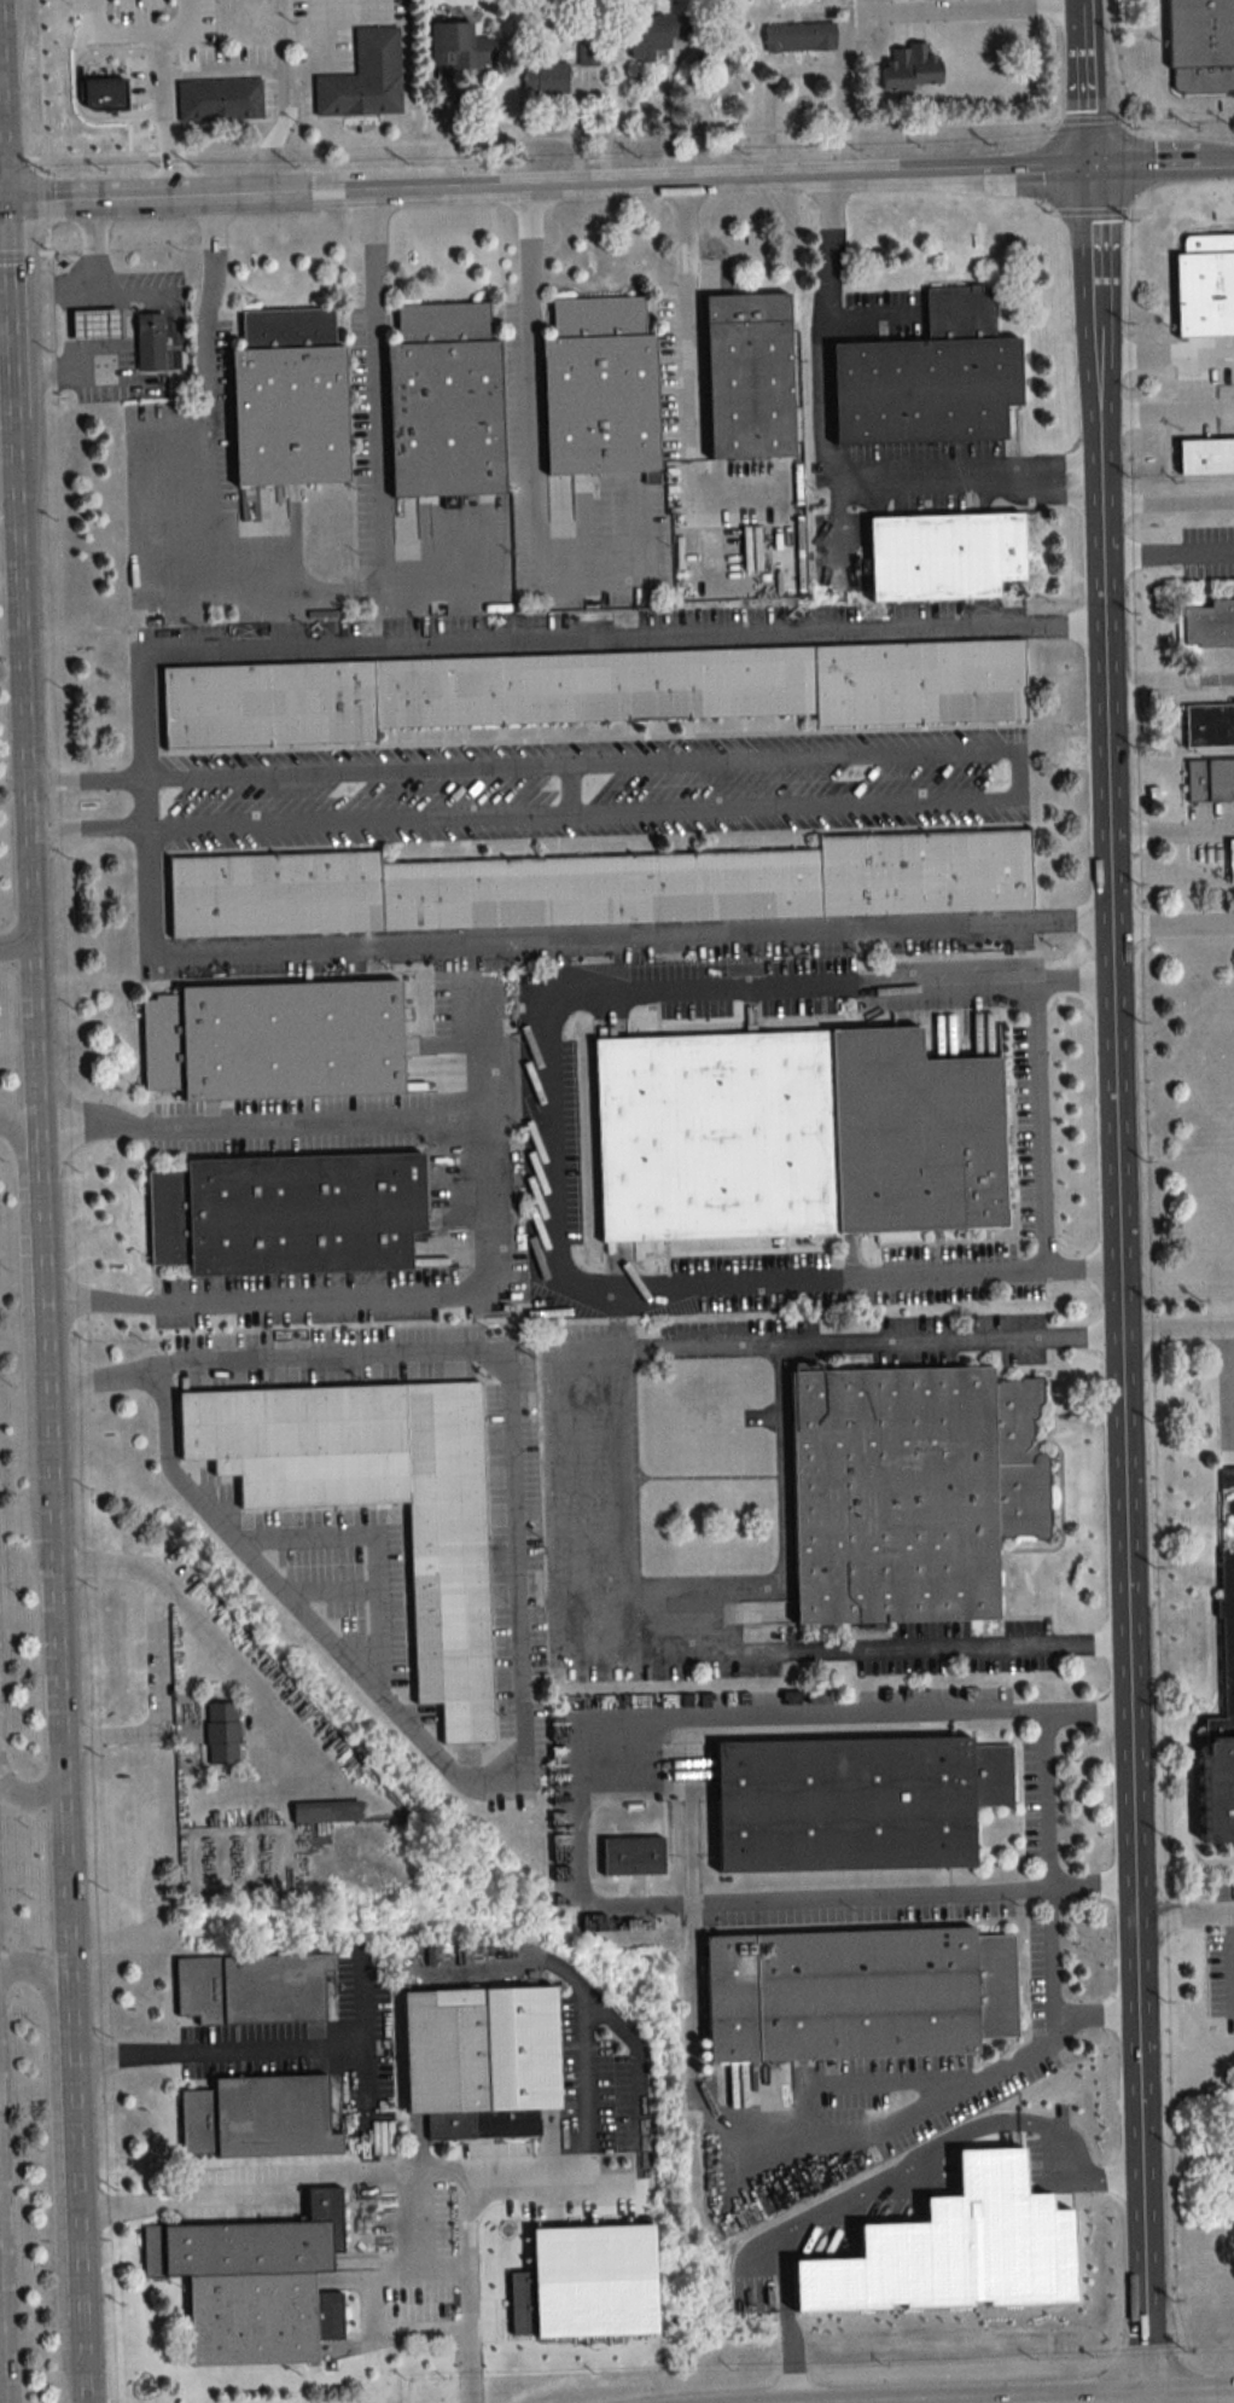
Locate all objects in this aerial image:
road: (315, 0)
road: (326, 0)
road: (976, 7)
building: (1200, 33)
building: (659, 34)
building: (799, 37)
road: (318, 41)
building: (460, 46)
building: (912, 66)
road: (158, 71)
road: (295, 71)
building: (545, 76)
building: (365, 77)
building: (219, 99)
road: (1, 111)
road: (531, 135)
road: (1, 140)
traffic signals: (1090, 172)
road: (2, 176)
road: (1090, 179)
road: (721, 184)
road: (151, 204)
road: (48, 208)
road: (1, 210)
traffic signals: (4, 210)
road: (5, 250)
road: (95, 262)
building: (1205, 285)
road: (35, 290)
road: (686, 314)
building: (95, 321)
road: (123, 339)
building: (151, 341)
road: (8, 353)
road: (1164, 356)
road: (68, 358)
building: (749, 376)
building: (929, 377)
road: (1095, 381)
building: (599, 388)
building: (287, 399)
road: (1226, 399)
road: (1156, 400)
building: (444, 402)
road: (535, 433)
road: (1098, 437)
road: (379, 449)
building: (1205, 455)
road: (830, 459)
road: (205, 468)
road: (1166, 501)
road: (1166, 555)
building: (944, 556)
road: (367, 587)
building: (1210, 625)
road: (557, 637)
building: (587, 690)
road: (1104, 695)
road: (1169, 698)
building: (1209, 725)
road: (1020, 773)
road: (83, 779)
building: (1210, 779)
road: (144, 801)
road: (85, 826)
road: (1171, 834)
building: (1230, 860)
building: (604, 887)
road: (1172, 925)
road: (566, 938)
road: (17, 941)
building: (274, 1041)
road: (74, 1107)
road: (299, 1121)
road: (1038, 1122)
building: (794, 1137)
road: (74, 1138)
road: (545, 1140)
building: (286, 1215)
road: (23, 1247)
road: (411, 1290)
road: (1177, 1331)
road: (46, 1409)
building: (1227, 1478)
building: (910, 1492)
road: (577, 1501)
building: (377, 1502)
road: (782, 1560)
road: (516, 1627)
road: (155, 1647)
road: (1130, 1660)
road: (235, 1673)
road: (837, 1718)
building: (1222, 1725)
building: (221, 1734)
road: (1041, 1761)
road: (34, 1797)
building: (855, 1805)
building: (325, 1816)
building: (631, 1857)
road: (724, 1902)
road: (1186, 1916)
road: (1047, 1917)
building: (256, 1990)
building: (857, 1993)
road: (279, 2045)
building: (479, 2048)
road: (945, 2093)
building: (257, 2118)
road: (635, 2158)
road: (56, 2160)
road: (268, 2186)
road: (122, 2204)
road: (473, 2218)
road: (418, 2265)
building: (254, 2283)
road: (467, 2380)

